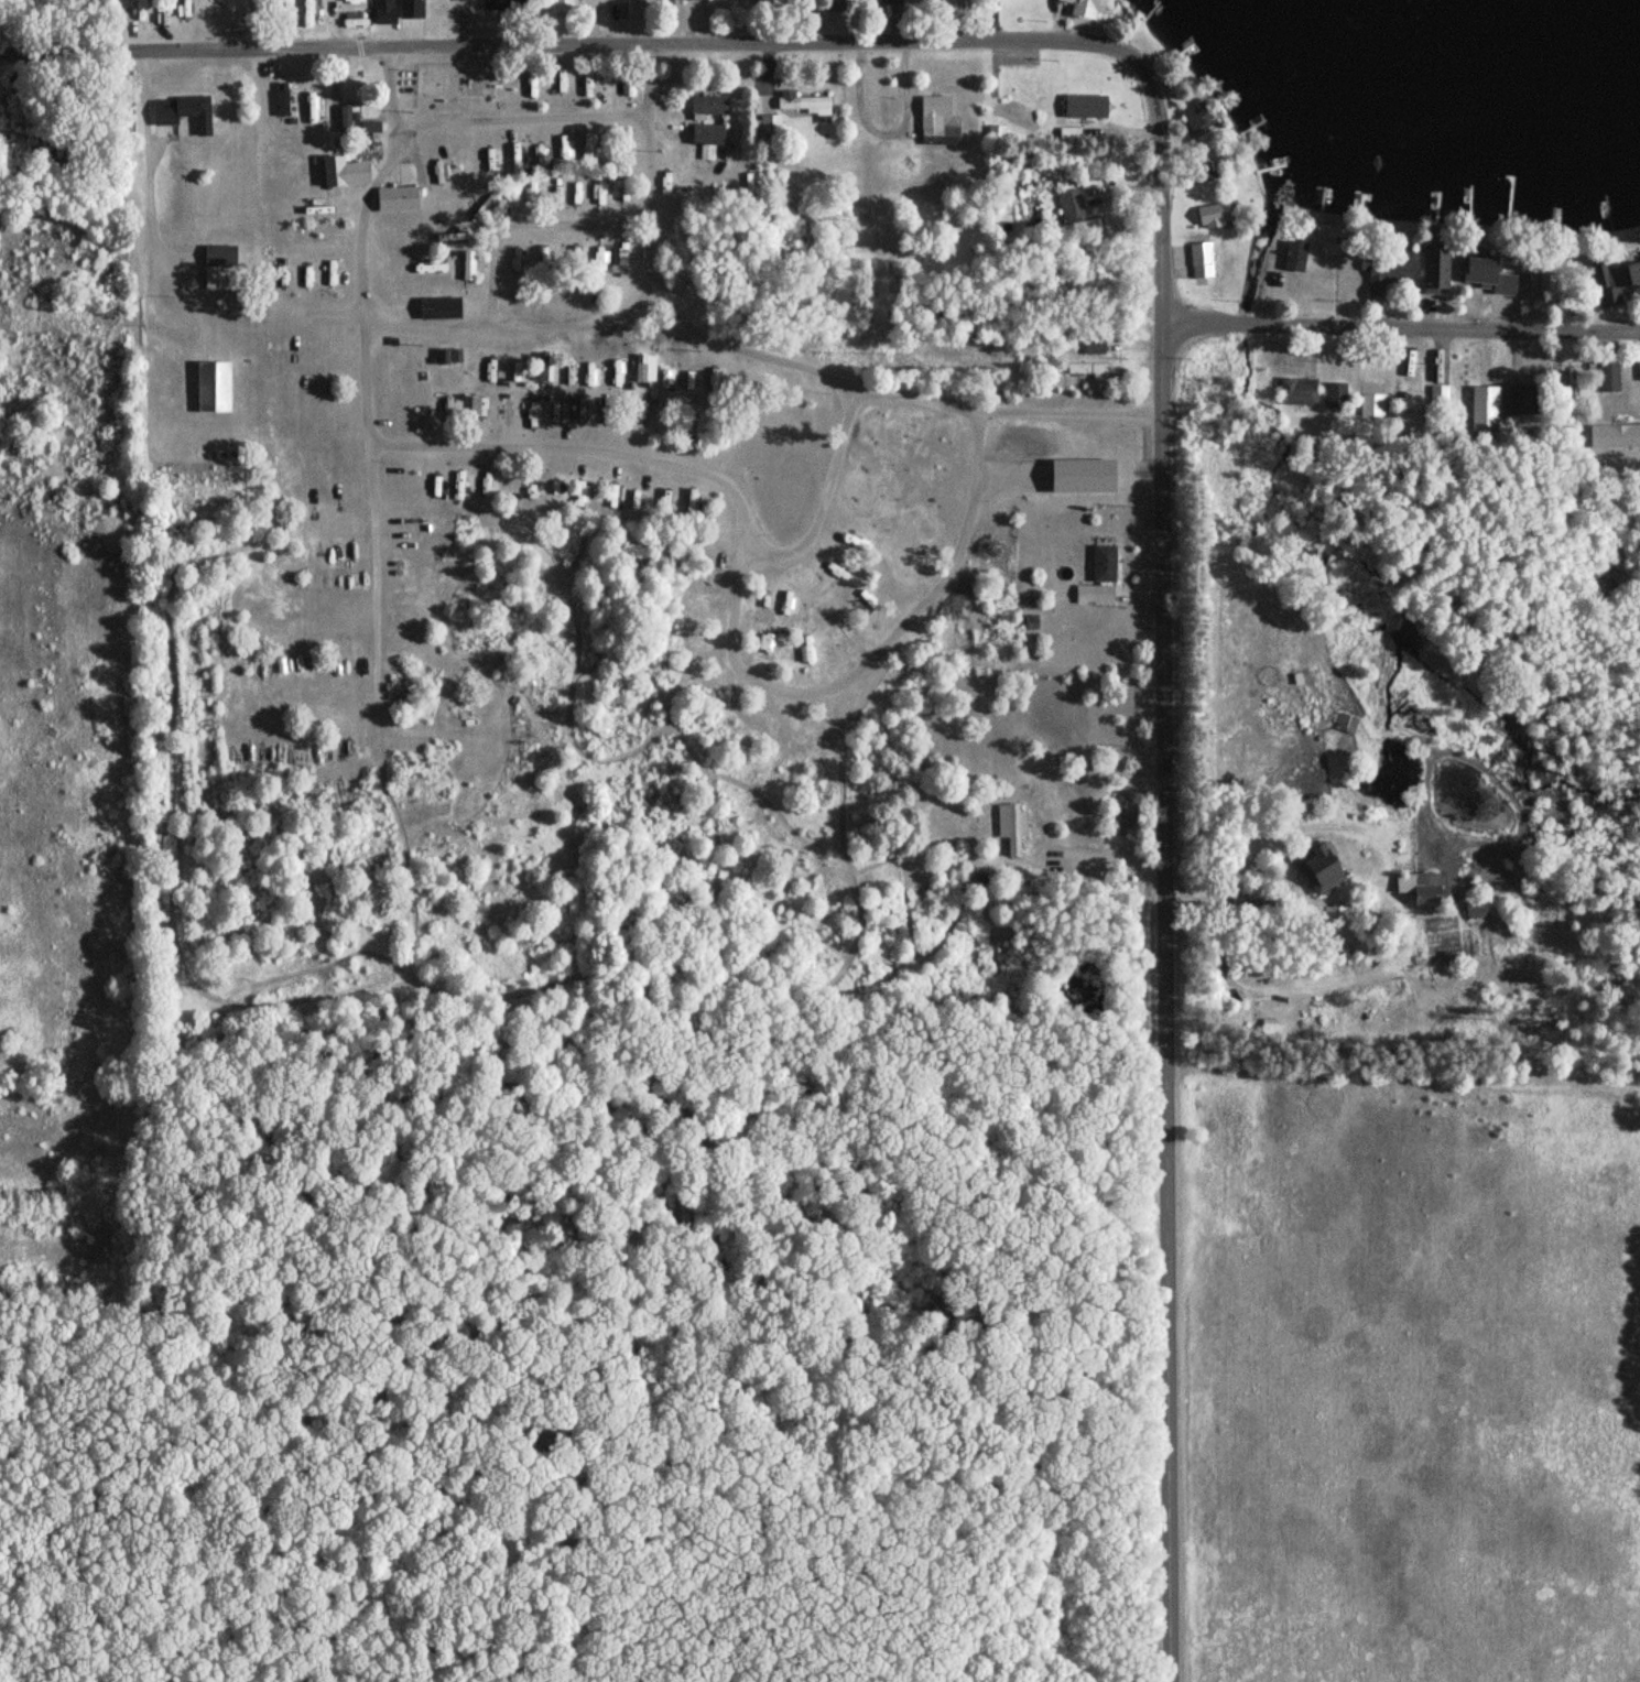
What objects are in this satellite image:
building: (694, 0)
building: (884, 2)
building: (596, 3)
building: (562, 6)
building: (307, 11)
building: (382, 12)
road: (253, 22)
road: (708, 41)
road: (332, 90)
building: (708, 107)
building: (806, 108)
building: (1078, 110)
building: (182, 113)
building: (1002, 116)
building: (1196, 117)
road: (508, 121)
building: (936, 123)
building: (707, 134)
building: (1199, 173)
building: (341, 174)
road: (144, 203)
building: (390, 207)
building: (1067, 207)
building: (1209, 217)
building: (1080, 230)
building: (1294, 257)
building: (1201, 262)
building: (1399, 268)
building: (218, 269)
building: (1435, 272)
building: (1491, 278)
building: (1617, 280)
building: (439, 310)
road: (487, 310)
road: (608, 319)
road: (1402, 325)
building: (1089, 372)
building: (208, 375)
building: (1609, 377)
building: (1297, 392)
building: (1337, 398)
building: (1442, 398)
building: (1373, 400)
building: (1523, 402)
building: (1413, 403)
building: (1488, 410)
building: (1619, 435)
building: (1103, 564)
building: (1093, 596)
building: (1346, 725)
building: (1012, 831)
road: (1110, 858)
building: (1317, 870)
building: (1419, 889)
road: (1227, 900)
building: (1475, 910)
building: (1340, 931)
road: (1169, 1003)

